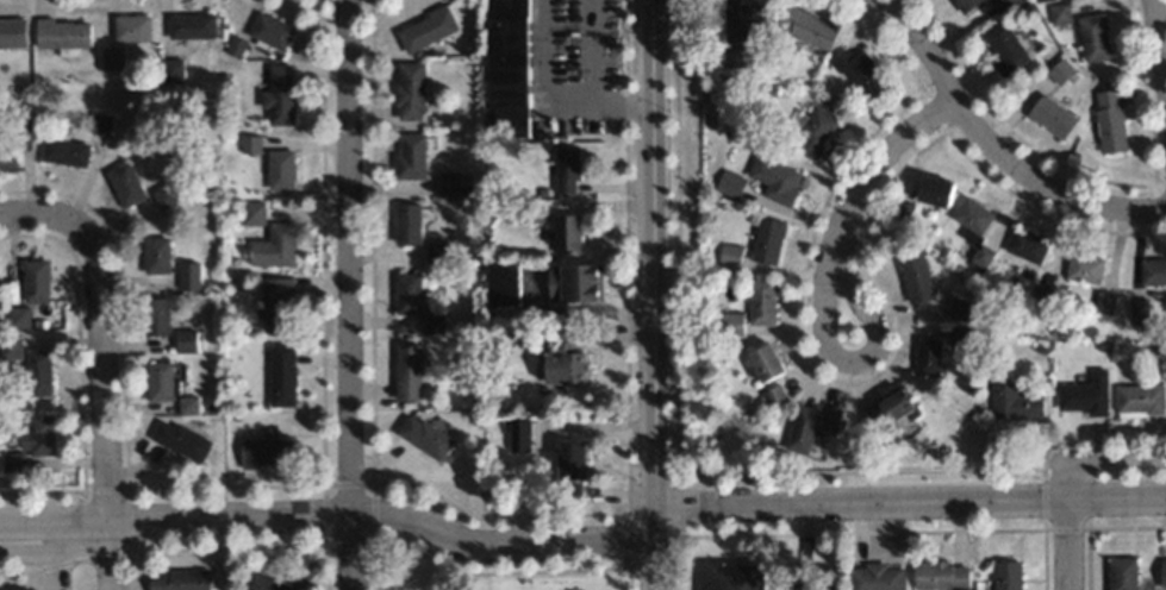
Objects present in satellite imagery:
building: (965, 5)
building: (1058, 15)
building: (752, 21)
building: (189, 26)
building: (806, 27)
building: (130, 29)
building: (425, 29)
building: (12, 32)
building: (269, 32)
building: (61, 34)
building: (1092, 39)
building: (1003, 49)
road: (1158, 55)
building: (111, 58)
building: (169, 70)
building: (860, 71)
building: (409, 90)
building: (278, 95)
road: (569, 100)
road: (624, 105)
building: (1050, 119)
building: (1108, 123)
building: (100, 124)
building: (815, 131)
building: (248, 145)
road: (993, 146)
road: (880, 150)
building: (7, 151)
building: (63, 152)
building: (409, 156)
building: (566, 169)
building: (279, 170)
building: (774, 180)
building: (447, 182)
building: (124, 184)
building: (933, 190)
building: (164, 196)
building: (250, 214)
building: (971, 219)
building: (405, 221)
building: (567, 233)
building: (766, 240)
building: (986, 246)
building: (273, 247)
building: (1024, 247)
building: (156, 255)
road: (651, 255)
building: (729, 256)
building: (1083, 268)
building: (1152, 272)
building: (188, 276)
building: (915, 278)
building: (35, 281)
building: (574, 282)
building: (406, 291)
road: (350, 294)
building: (761, 301)
building: (1103, 303)
building: (276, 306)
building: (1137, 310)
building: (155, 316)
building: (17, 319)
building: (729, 324)
road: (102, 329)
building: (186, 341)
building: (8, 349)
building: (561, 356)
building: (927, 356)
road: (852, 362)
building: (763, 363)
building: (406, 372)
building: (37, 374)
building: (280, 376)
building: (158, 382)
building: (1083, 395)
building: (773, 396)
building: (1139, 400)
building: (1012, 403)
building: (187, 406)
building: (887, 410)
building: (805, 429)
building: (522, 434)
building: (36, 437)
building: (424, 438)
building: (179, 441)
building: (264, 452)
road: (1096, 458)
building: (569, 470)
street lamp: (635, 485)
road: (911, 502)
road: (331, 515)
road: (1068, 544)
road: (655, 550)
road: (57, 552)
road: (107, 556)
road: (55, 557)
building: (1121, 573)
building: (1162, 573)
building: (940, 576)
building: (1005, 576)
building: (734, 577)
building: (875, 577)
building: (177, 580)
building: (258, 582)

